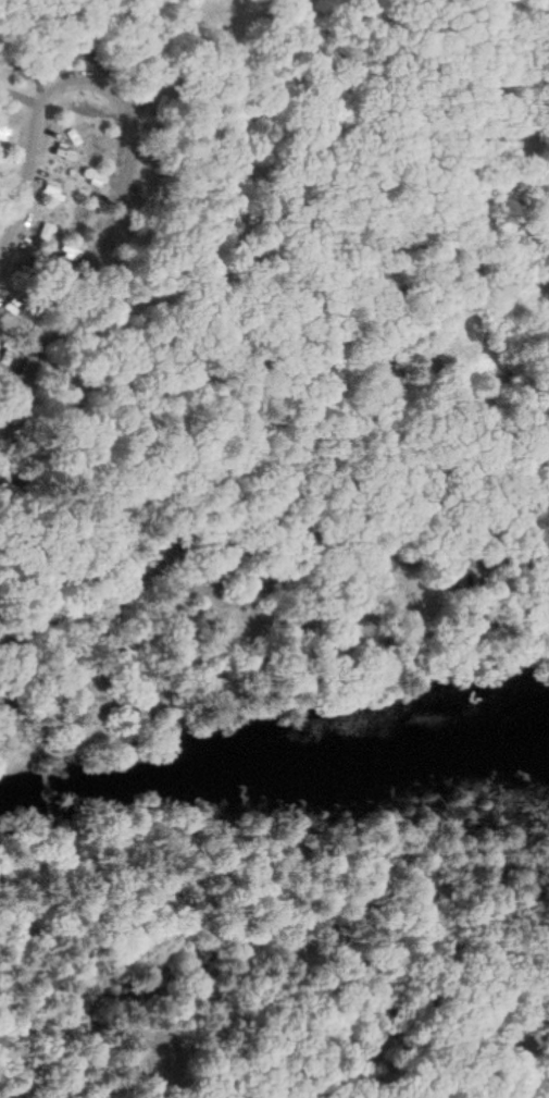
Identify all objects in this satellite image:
road: (160, 52)
building: (87, 107)
building: (8, 131)
building: (102, 136)
road: (134, 146)
building: (12, 171)
road: (277, 417)
road: (244, 513)
park: (274, 548)
road: (284, 656)
road: (32, 736)
river: (273, 760)
road: (51, 795)
road: (313, 899)
road: (83, 959)
road: (542, 1089)

